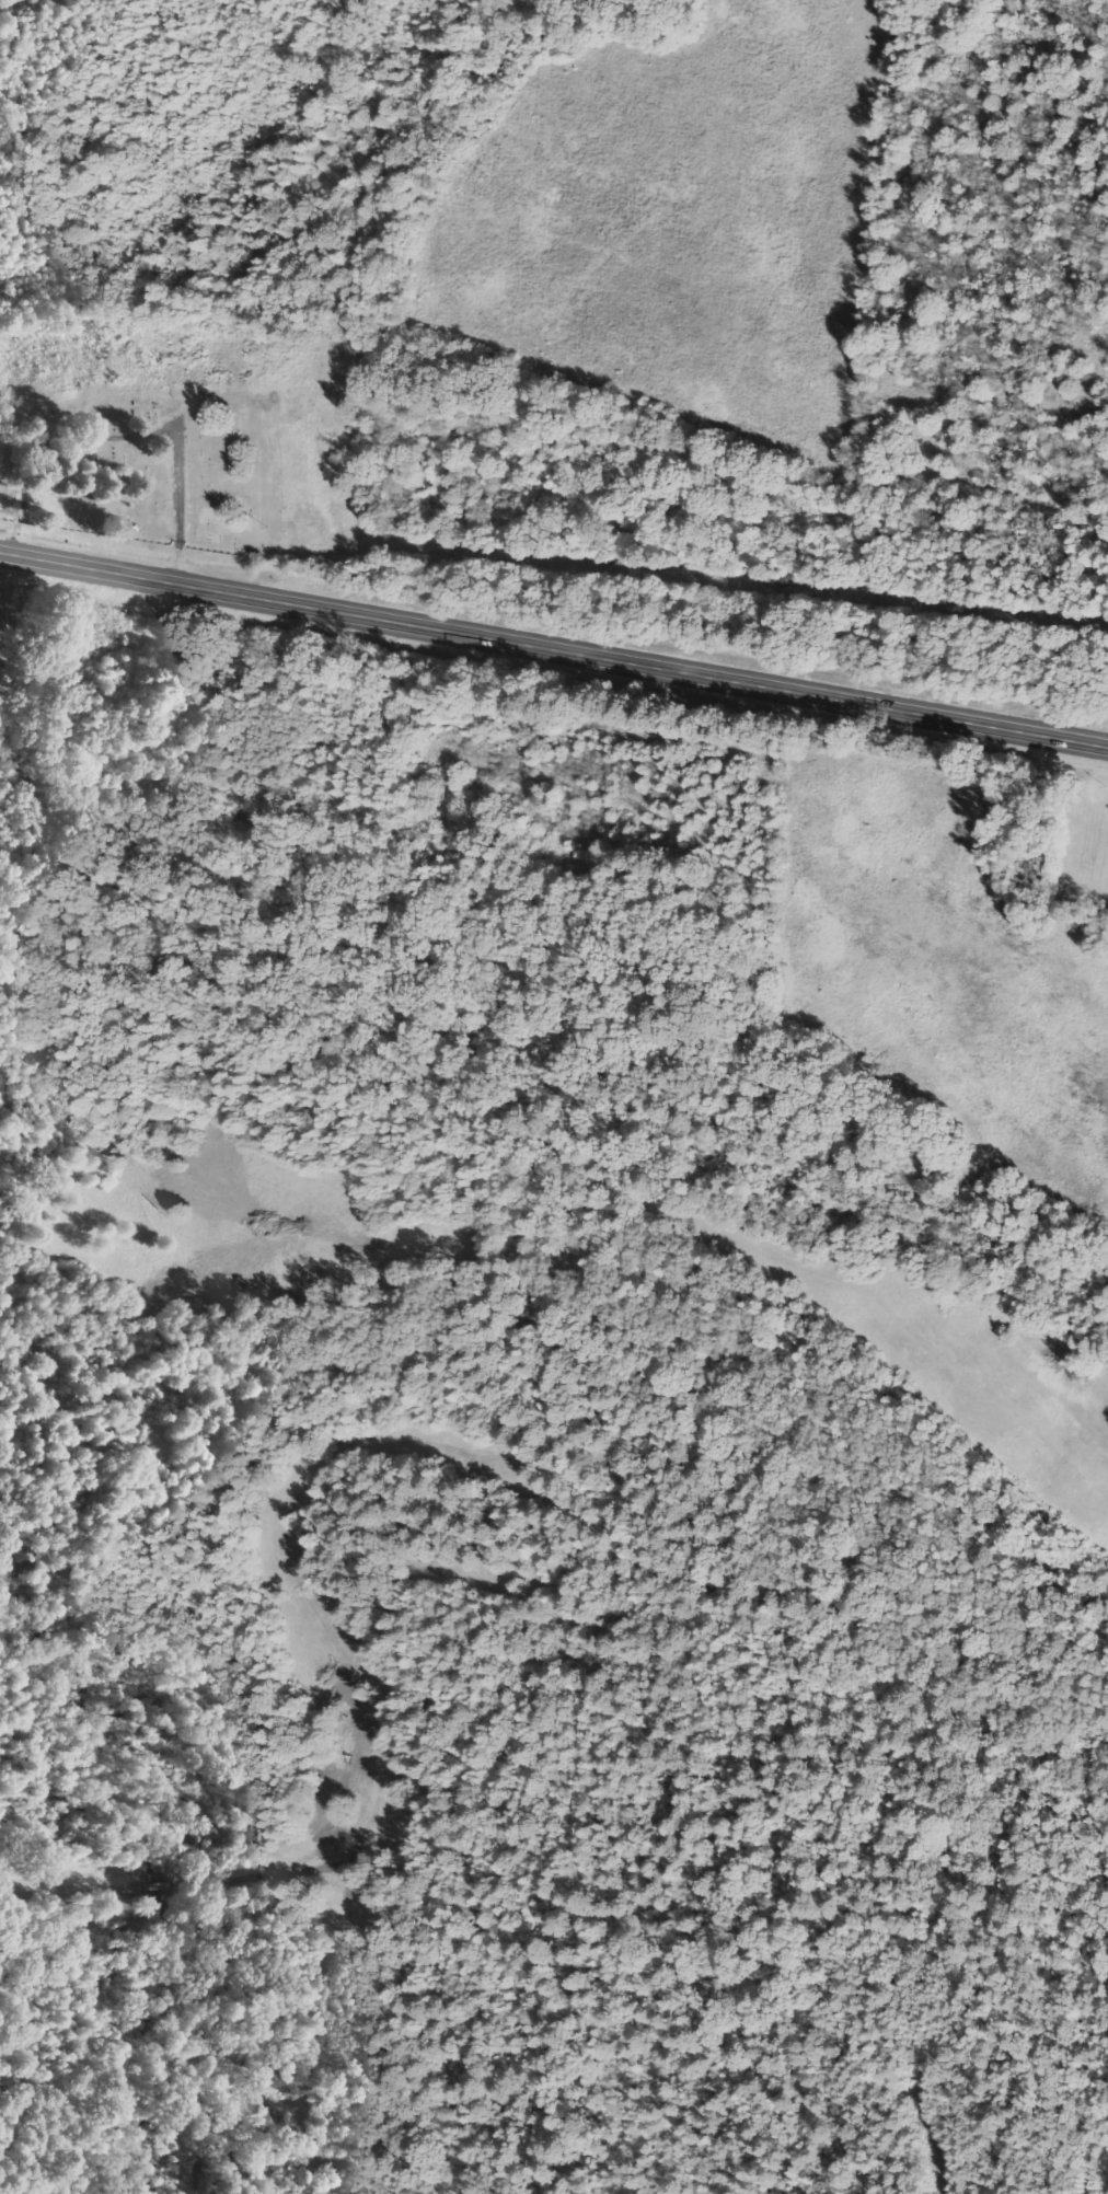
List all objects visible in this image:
road: (117, 436)
park: (147, 437)
road: (1, 569)
park: (2, 636)
road: (554, 640)

